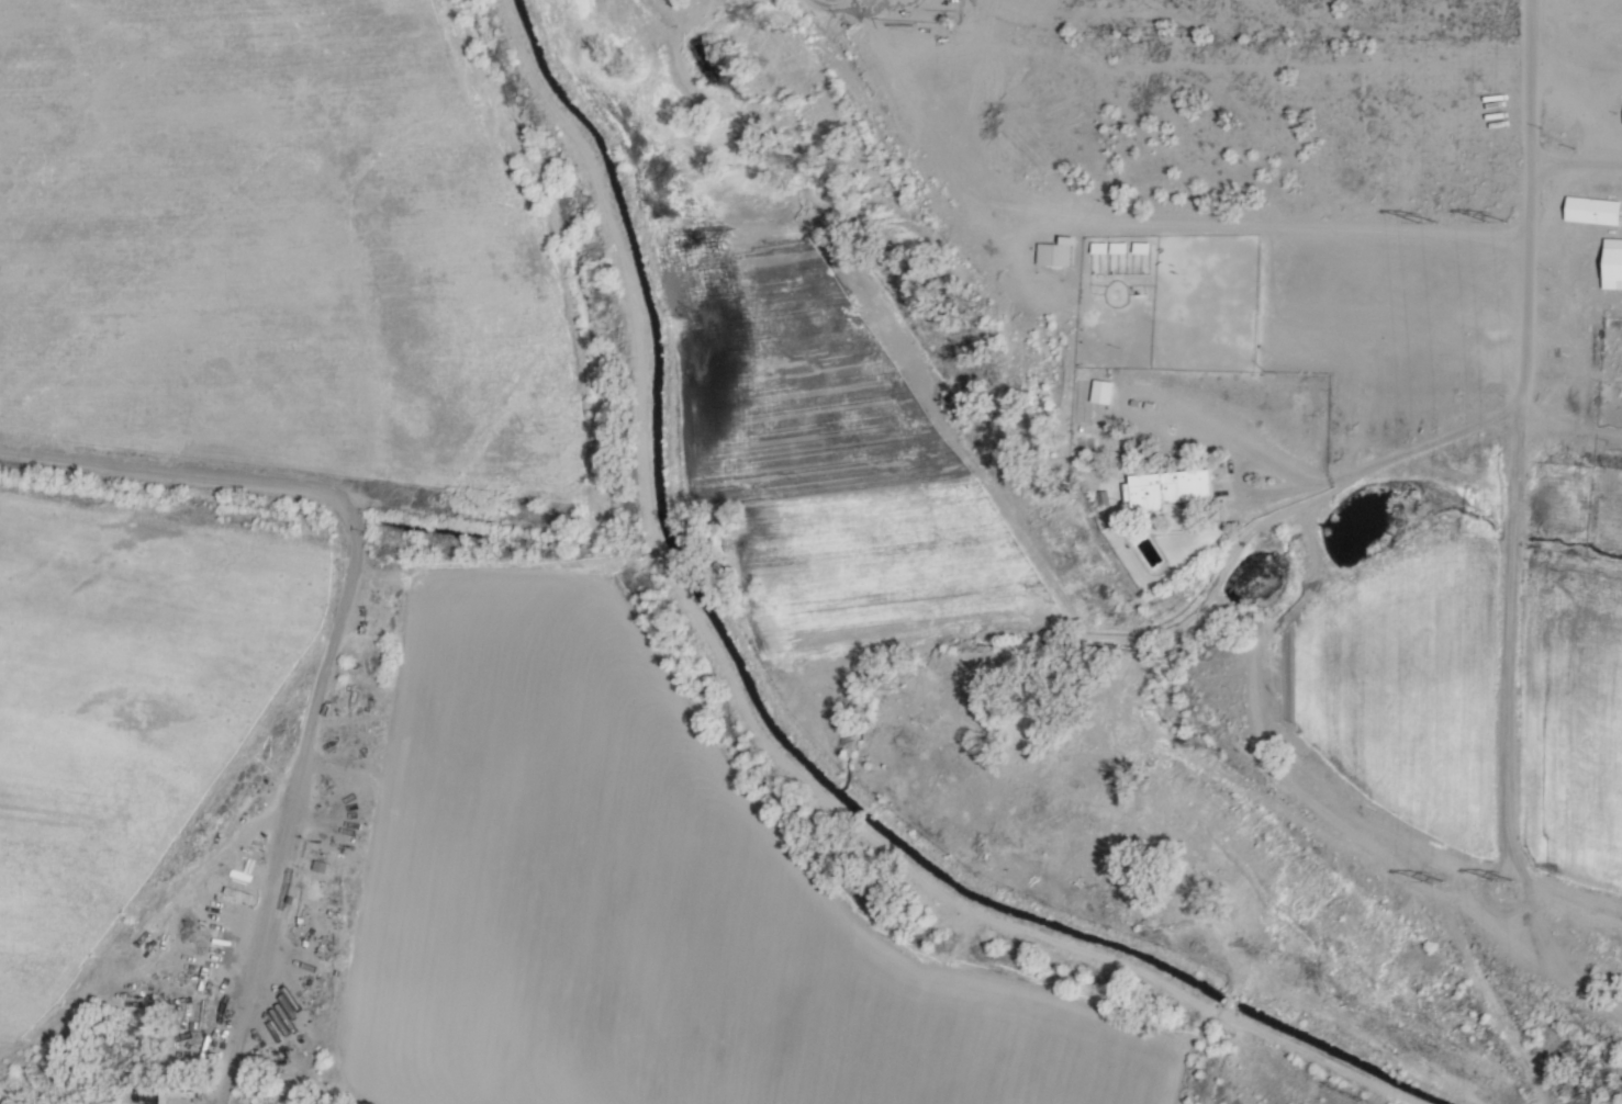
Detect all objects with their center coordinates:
building: (1592, 211)
power tower: (1425, 219)
power tower: (1490, 219)
building: (998, 224)
building: (1109, 247)
building: (1141, 247)
building: (1053, 254)
building: (1611, 263)
road: (1526, 341)
building: (1101, 392)
building: (1164, 488)
road: (1344, 652)
road: (1342, 821)
power tower: (1439, 885)
power tower: (1504, 887)

